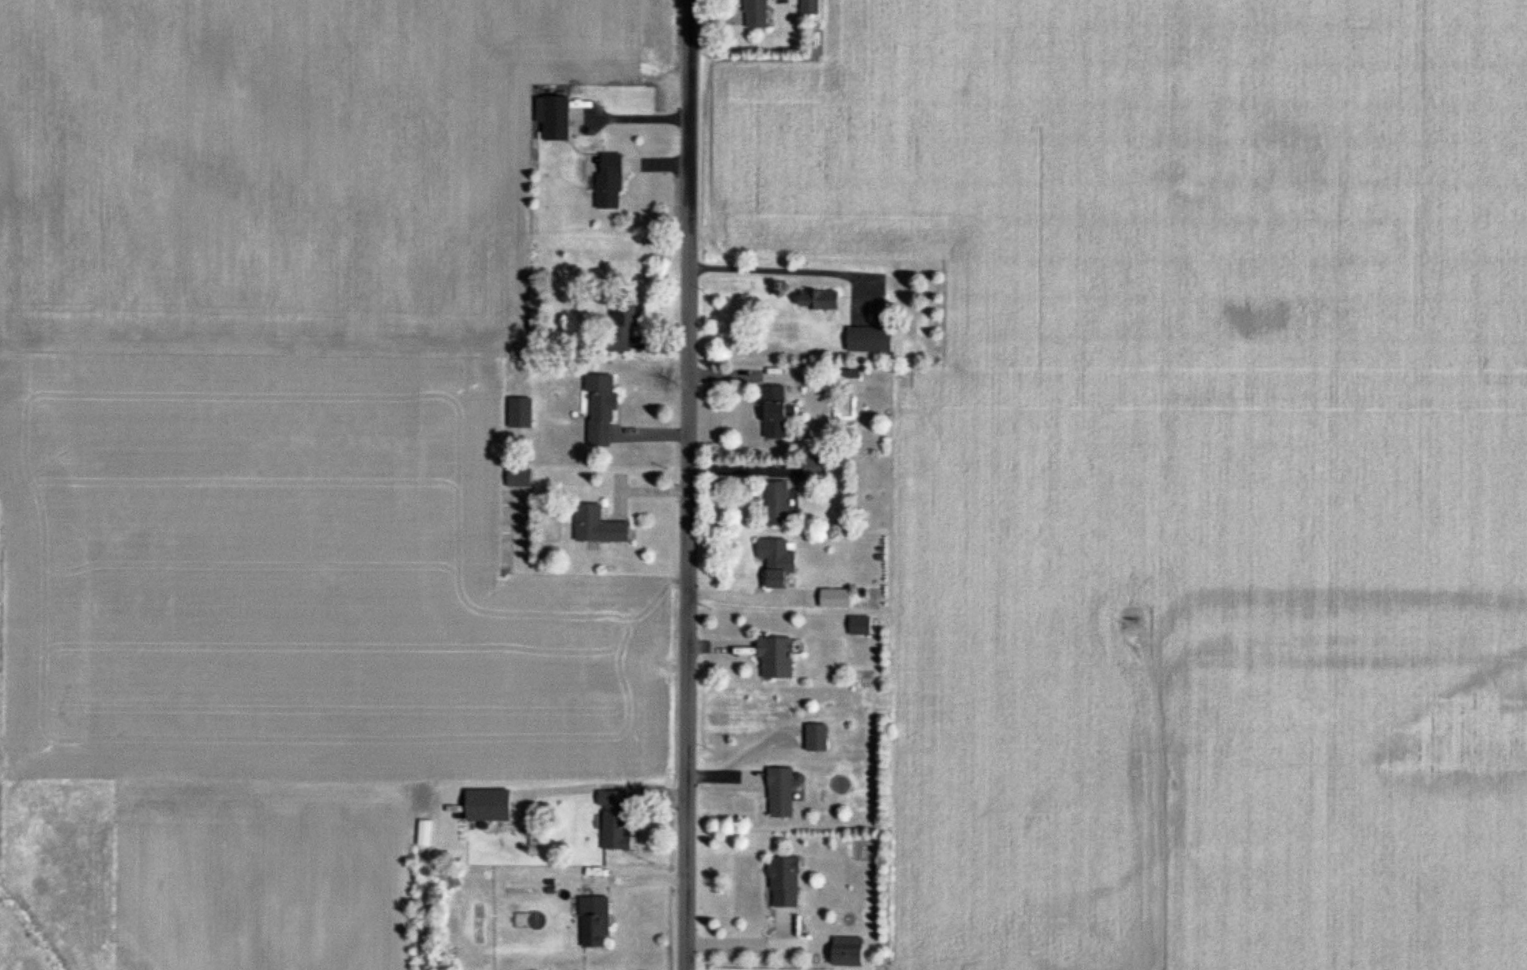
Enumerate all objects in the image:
building: (810, 7)
building: (756, 14)
building: (554, 118)
building: (610, 182)
road: (783, 275)
building: (819, 300)
building: (623, 327)
building: (870, 340)
building: (601, 411)
building: (521, 413)
building: (775, 413)
building: (815, 468)
building: (520, 478)
road: (684, 484)
building: (778, 504)
building: (598, 526)
building: (777, 561)
building: (836, 599)
petroleum well: (1147, 617)
building: (776, 659)
building: (817, 739)
building: (781, 794)
road: (1153, 801)
building: (488, 806)
building: (615, 821)
building: (785, 884)
building: (595, 924)
building: (848, 953)

